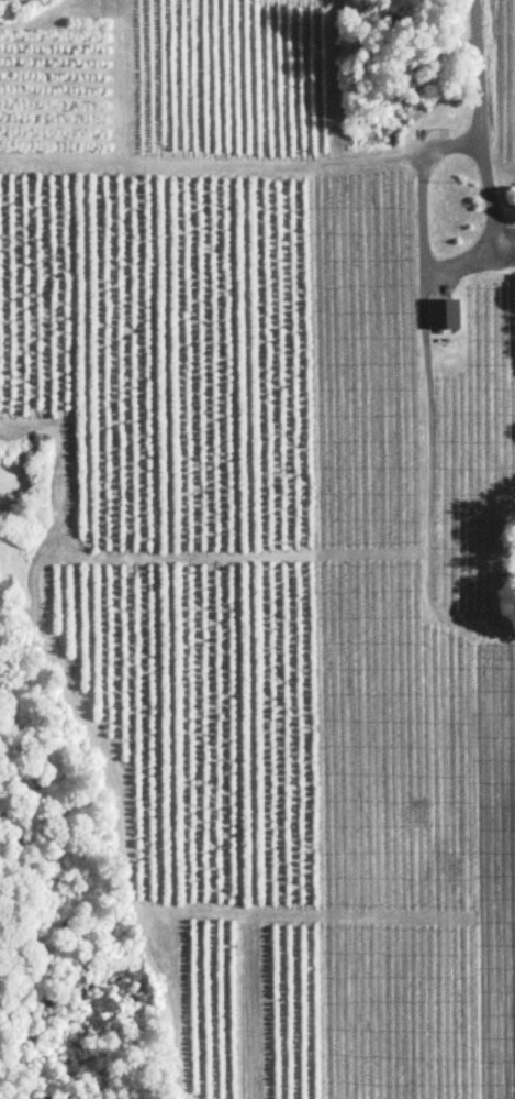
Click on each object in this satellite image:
road: (483, 124)
building: (444, 316)

